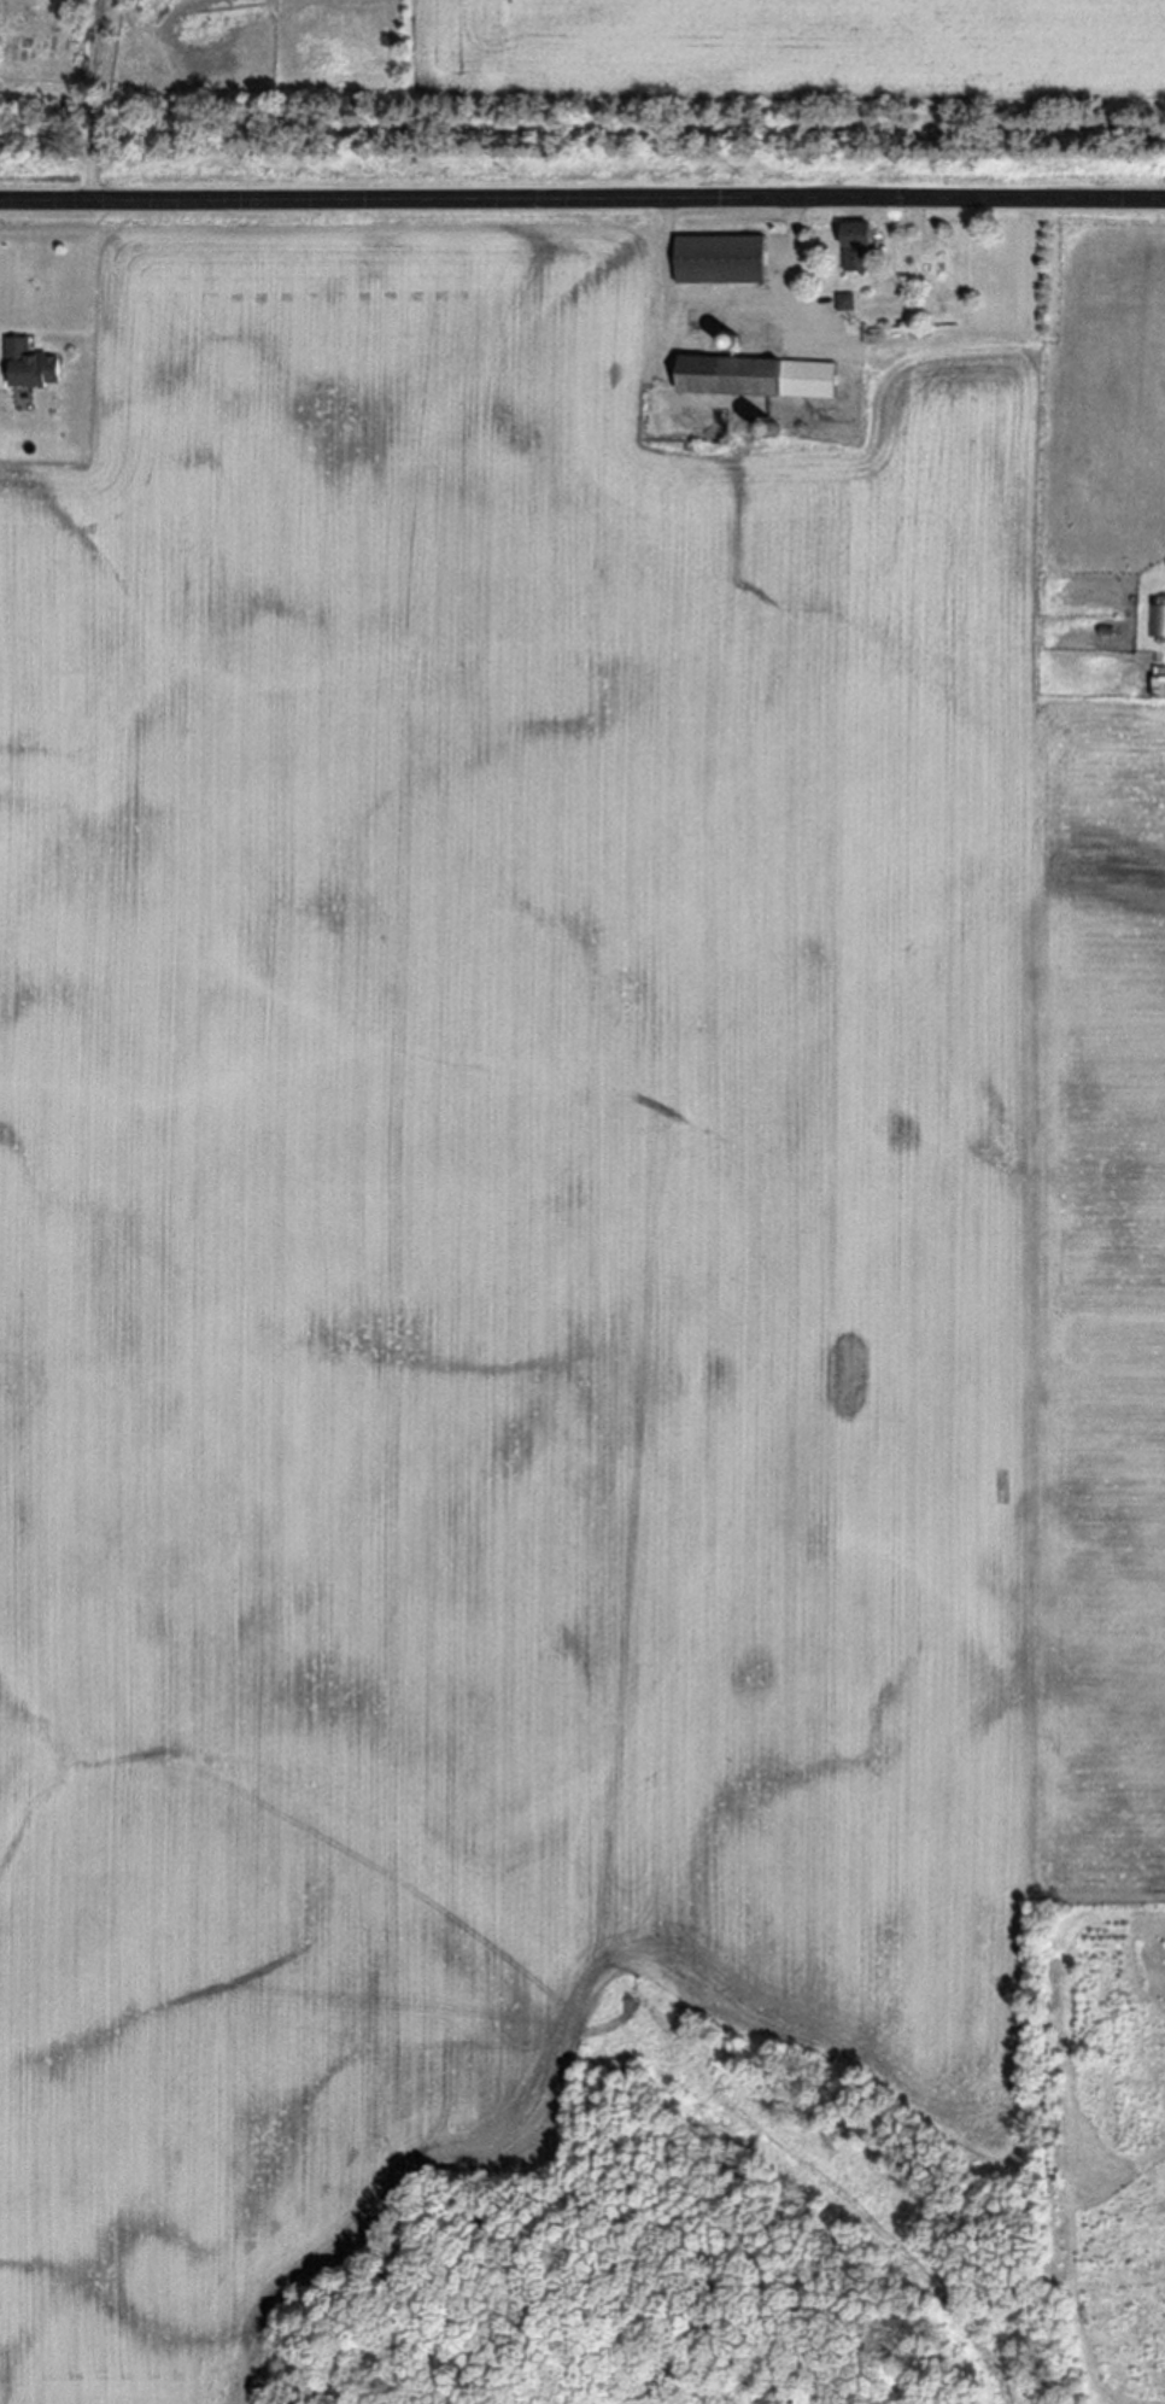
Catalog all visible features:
road: (99, 99)
road: (582, 199)
building: (854, 245)
building: (719, 261)
road: (731, 294)
building: (844, 303)
building: (30, 368)
building: (755, 378)
building: (1157, 619)

